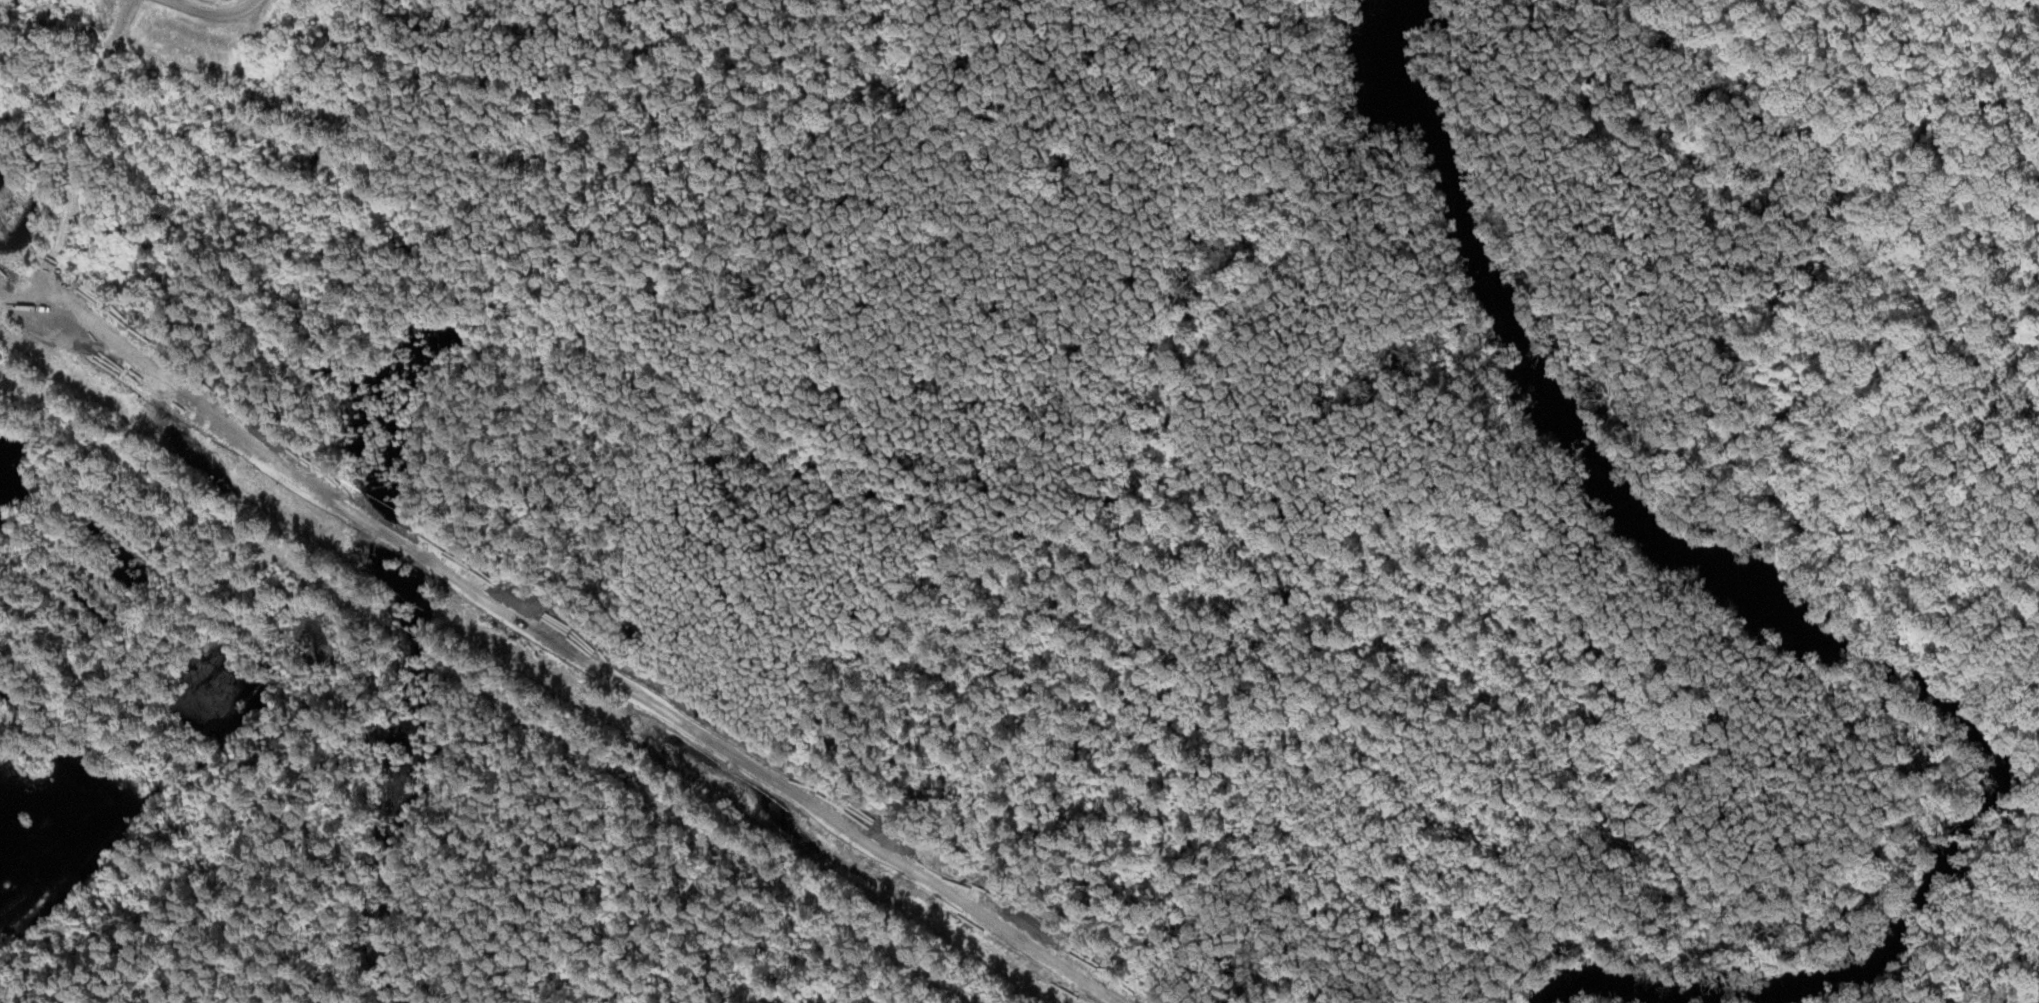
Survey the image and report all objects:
road: (217, 11)
road: (82, 161)

